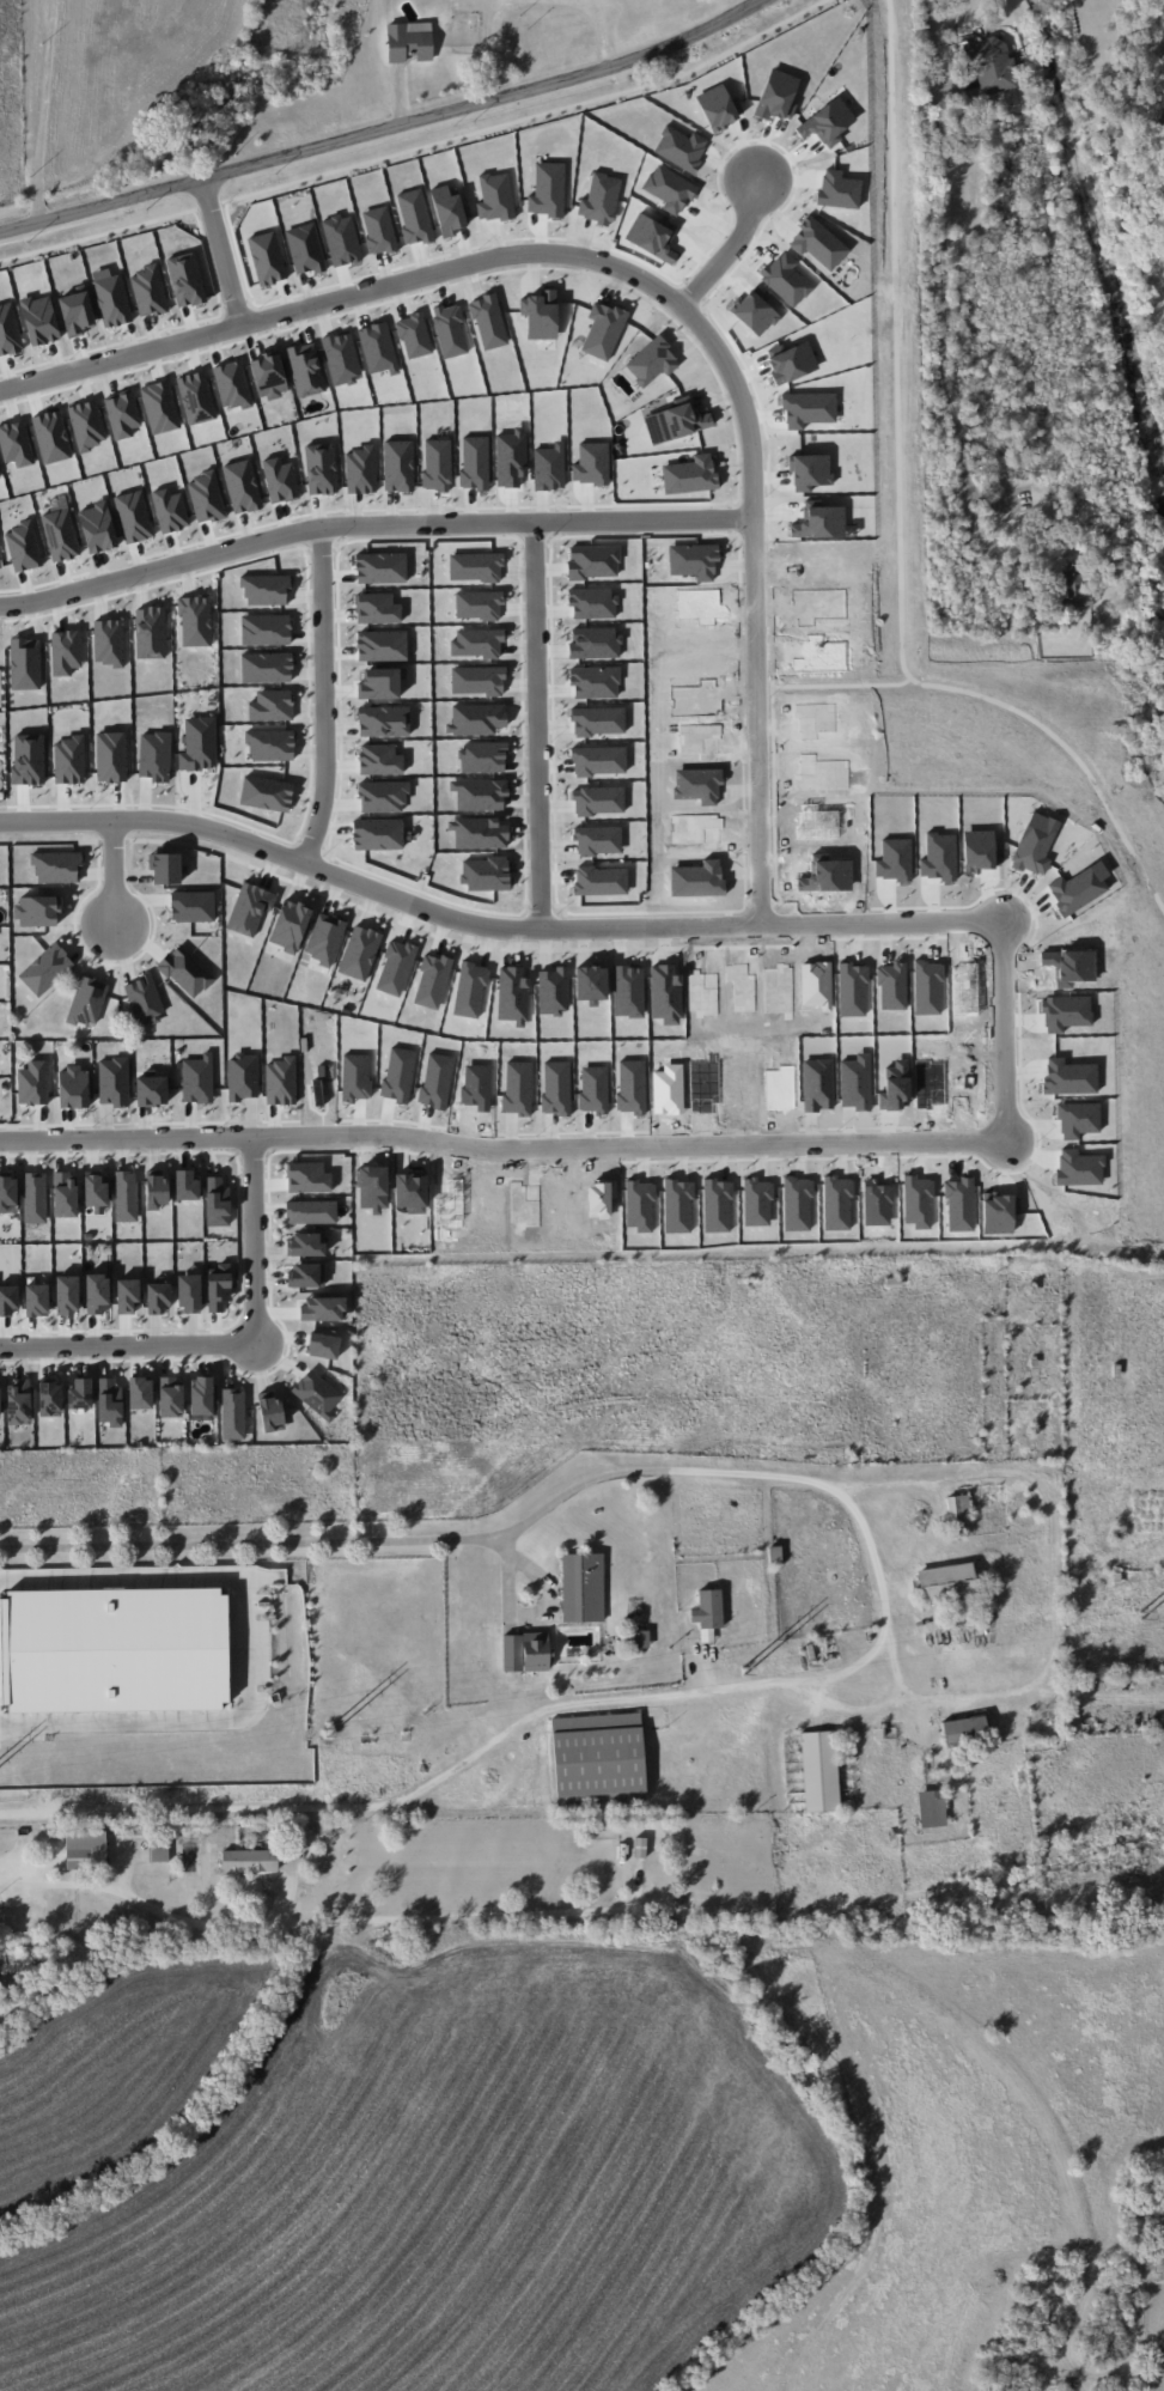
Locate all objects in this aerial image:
road: (1163, 2)
building: (408, 42)
building: (991, 66)
building: (776, 96)
building: (718, 107)
road: (42, 110)
building: (827, 121)
road: (385, 128)
building: (679, 148)
building: (669, 189)
building: (837, 190)
building: (817, 243)
road: (733, 248)
road: (221, 253)
road: (941, 268)
building: (785, 279)
road: (653, 282)
building: (111, 300)
building: (280, 480)
building: (242, 486)
building: (205, 498)
building: (169, 510)
building: (97, 527)
road: (372, 527)
building: (60, 535)
building: (23, 547)
building: (380, 567)
building: (1071, 586)
building: (266, 590)
building: (377, 608)
building: (195, 621)
building: (264, 629)
building: (151, 635)
building: (108, 641)
building: (382, 645)
building: (65, 651)
building: (25, 663)
building: (266, 667)
building: (380, 683)
road: (325, 696)
building: (270, 705)
building: (383, 720)
road: (540, 726)
building: (199, 744)
building: (270, 744)
building: (110, 756)
building: (379, 759)
building: (68, 760)
building: (822, 772)
building: (697, 784)
building: (266, 793)
building: (382, 796)
building: (817, 822)
building: (697, 828)
building: (377, 834)
building: (56, 866)
building: (165, 868)
building: (827, 874)
road: (117, 875)
building: (697, 880)
building: (249, 908)
building: (37, 911)
building: (359, 951)
building: (45, 969)
building: (86, 1000)
road: (1005, 1023)
building: (242, 1077)
building: (197, 1078)
building: (280, 1081)
building: (114, 1082)
building: (32, 1083)
building: (73, 1088)
building: (151, 1090)
building: (307, 1178)
building: (185, 1185)
building: (156, 1190)
building: (7, 1191)
building: (95, 1191)
building: (65, 1194)
building: (126, 1195)
building: (35, 1197)
building: (311, 1211)
building: (305, 1245)
building: (218, 1286)
building: (97, 1292)
building: (189, 1292)
building: (66, 1295)
building: (127, 1296)
building: (157, 1298)
building: (36, 1300)
building: (323, 1308)
road: (231, 1343)
building: (322, 1345)
building: (80, 1392)
building: (140, 1392)
building: (201, 1395)
building: (170, 1397)
building: (49, 1398)
building: (109, 1401)
building: (18, 1403)
building: (232, 1413)
building: (945, 1581)
road: (889, 1586)
building: (583, 1588)
building: (707, 1608)
power tower: (1142, 1613)
road: (246, 1647)
building: (536, 1651)
building: (123, 1653)
power tower: (742, 1668)
building: (963, 1729)
power tower: (328, 1732)
building: (931, 1809)
building: (85, 1849)
building: (249, 1860)
road: (322, 1925)

